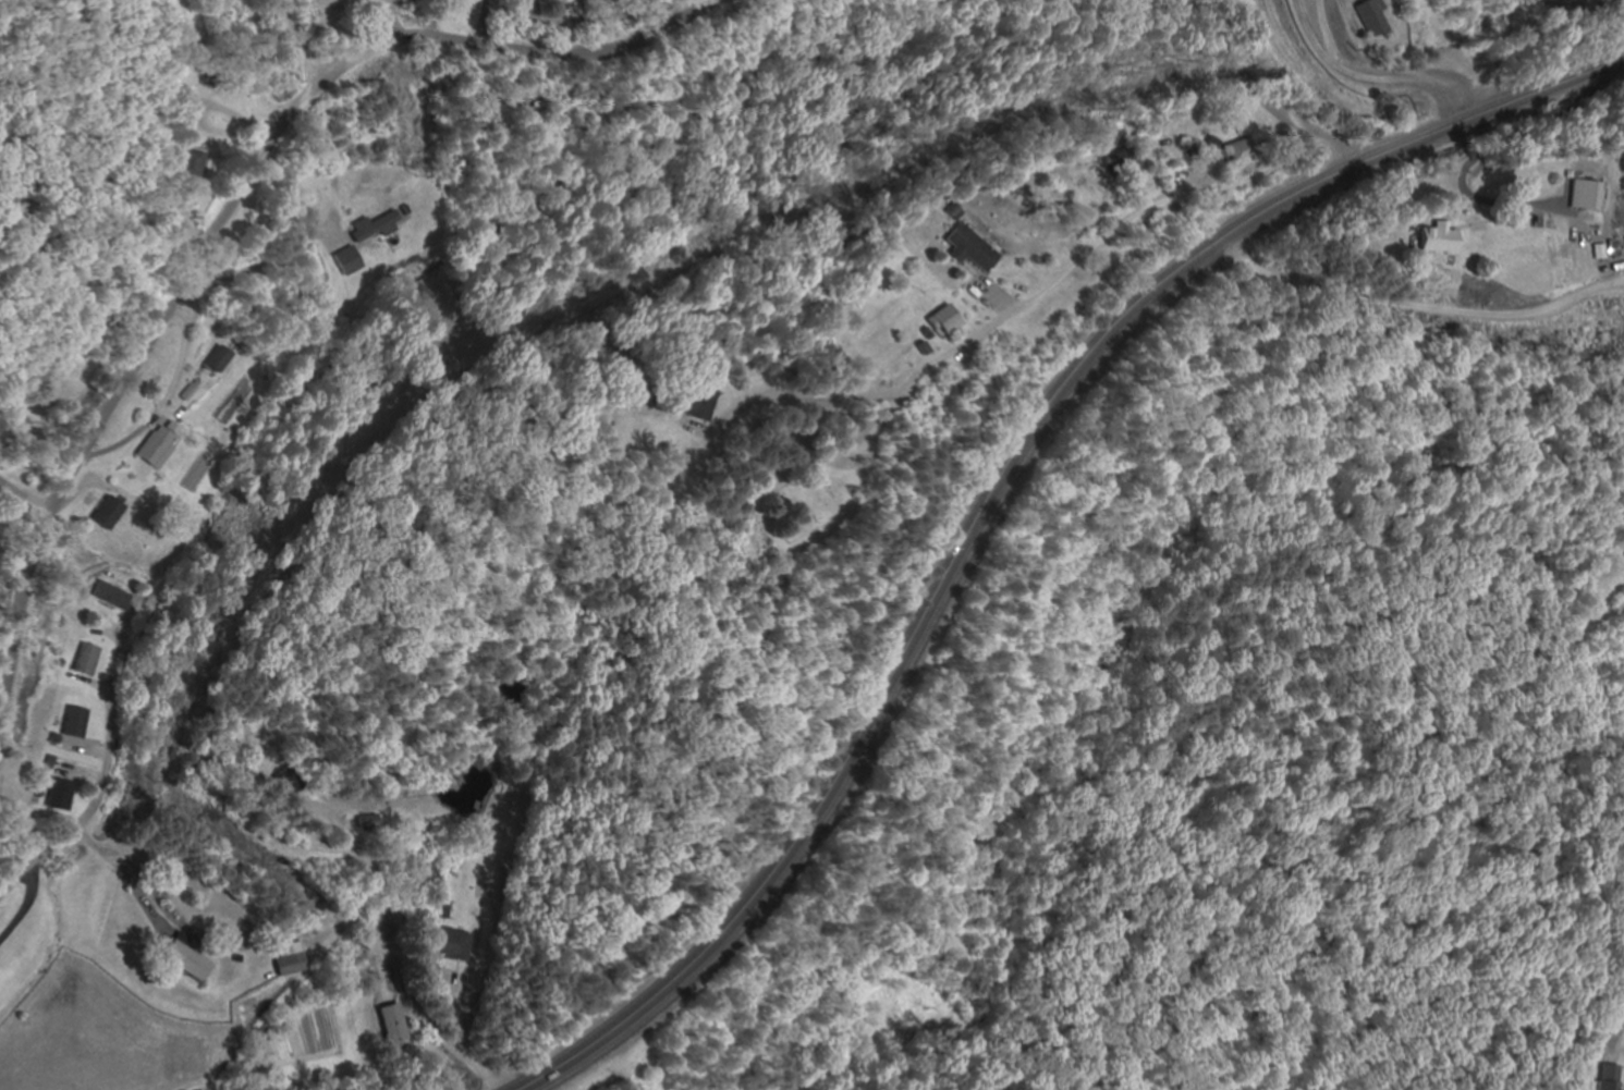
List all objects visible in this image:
building: (1366, 19)
road: (1449, 52)
road: (1263, 95)
building: (1235, 151)
building: (1585, 195)
road: (228, 217)
building: (368, 229)
building: (1432, 236)
building: (968, 248)
building: (346, 266)
road: (1066, 269)
building: (940, 320)
building: (698, 404)
building: (156, 445)
road: (993, 487)
road: (1509, 511)
building: (1623, 555)
road: (859, 562)
road: (716, 578)
building: (109, 595)
building: (85, 660)
building: (74, 723)
road: (102, 777)
road: (307, 924)
building: (453, 945)
building: (190, 963)
building: (291, 965)
building: (392, 1025)

